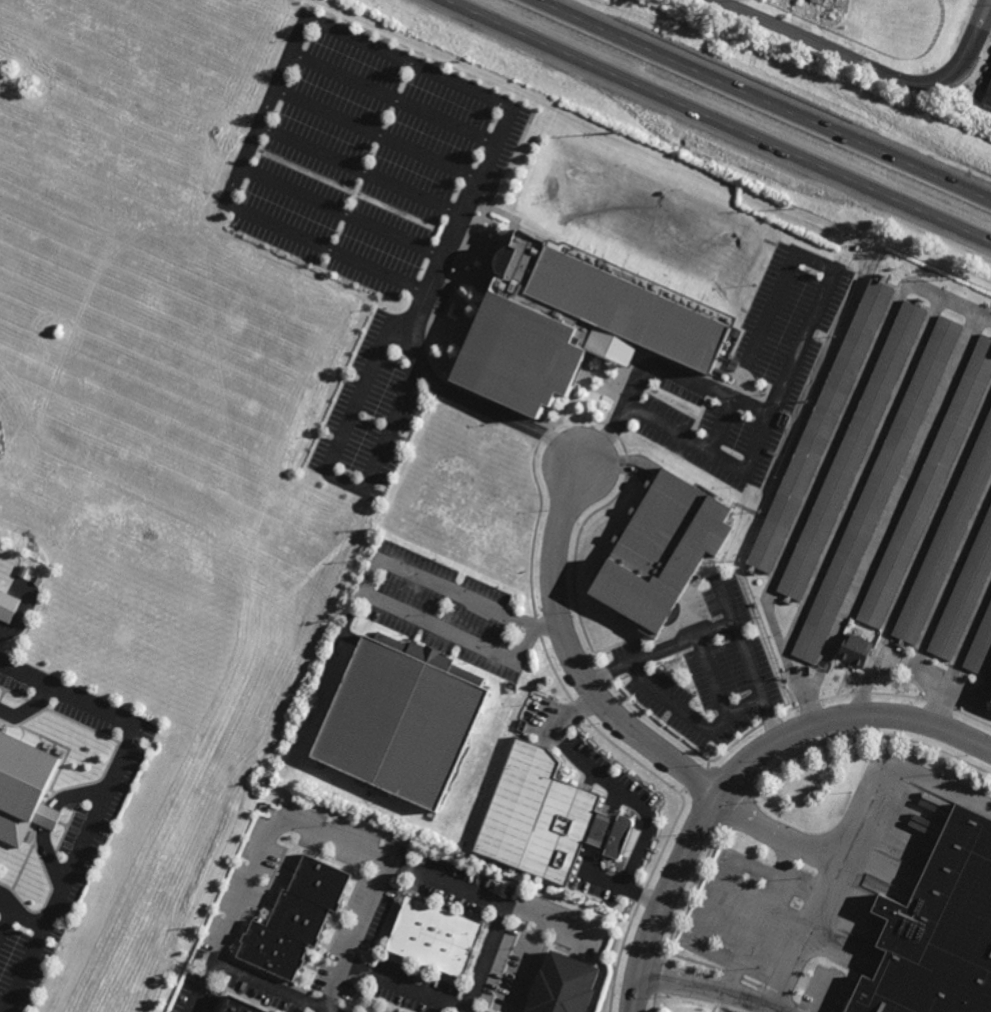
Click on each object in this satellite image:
road: (873, 68)
building: (976, 93)
building: (987, 95)
road: (389, 99)
road: (766, 99)
road: (264, 107)
road: (719, 120)
road: (373, 135)
road: (358, 168)
road: (338, 213)
road: (418, 323)
building: (566, 326)
road: (783, 384)
road: (728, 408)
building: (820, 425)
building: (852, 449)
road: (715, 455)
road: (828, 459)
road: (862, 473)
road: (330, 475)
building: (928, 484)
building: (876, 489)
road: (891, 509)
building: (946, 537)
building: (660, 548)
road: (920, 550)
building: (964, 594)
road: (373, 601)
building: (8, 605)
road: (932, 625)
road: (683, 646)
building: (981, 647)
building: (854, 650)
road: (959, 653)
road: (575, 658)
building: (467, 674)
road: (715, 680)
road: (758, 683)
road: (26, 711)
road: (695, 722)
building: (394, 725)
road: (740, 767)
road: (109, 785)
building: (21, 788)
building: (544, 817)
road: (48, 820)
road: (649, 827)
road: (853, 832)
road: (775, 834)
road: (340, 844)
road: (642, 896)
road: (718, 904)
road: (758, 915)
building: (293, 919)
road: (4, 923)
building: (939, 931)
building: (432, 935)
road: (357, 937)
road: (485, 959)
road: (530, 967)
road: (25, 970)
building: (561, 984)
road: (712, 984)
road: (407, 986)
road: (274, 988)
road: (828, 996)
road: (728, 999)
building: (236, 1006)

